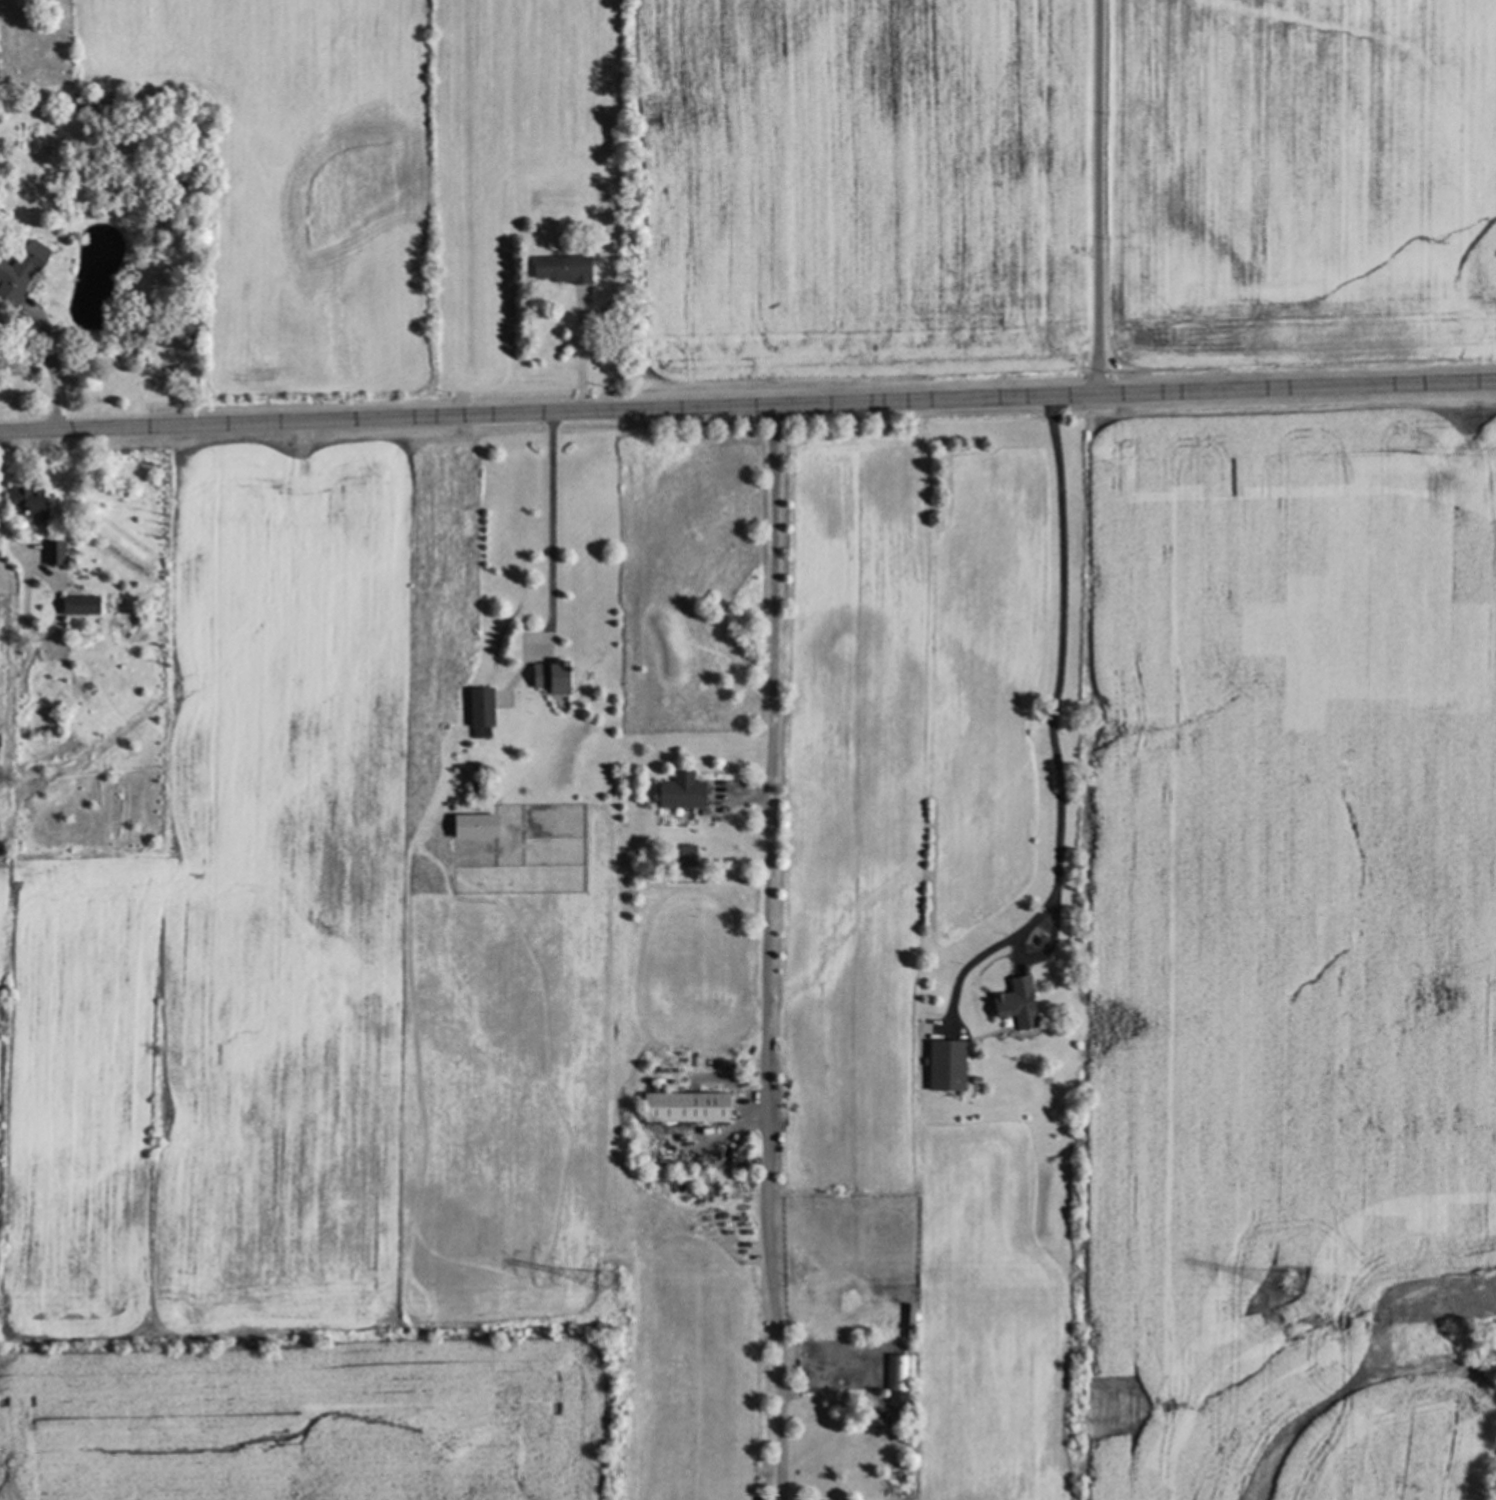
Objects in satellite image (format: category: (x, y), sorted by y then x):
crop: (836, 179)
road: (1099, 198)
building: (559, 268)
building: (18, 270)
road: (44, 329)
road: (585, 357)
road: (747, 407)
building: (25, 501)
road: (552, 529)
building: (53, 552)
road: (42, 570)
building: (76, 605)
road: (1059, 673)
building: (548, 676)
building: (477, 706)
building: (677, 794)
building: (469, 826)
building: (681, 853)
road: (769, 953)
building: (1011, 1002)
crop: (803, 1011)
building: (942, 1066)
building: (681, 1107)
power tower: (598, 1278)
power tower: (1293, 1279)
building: (895, 1377)

